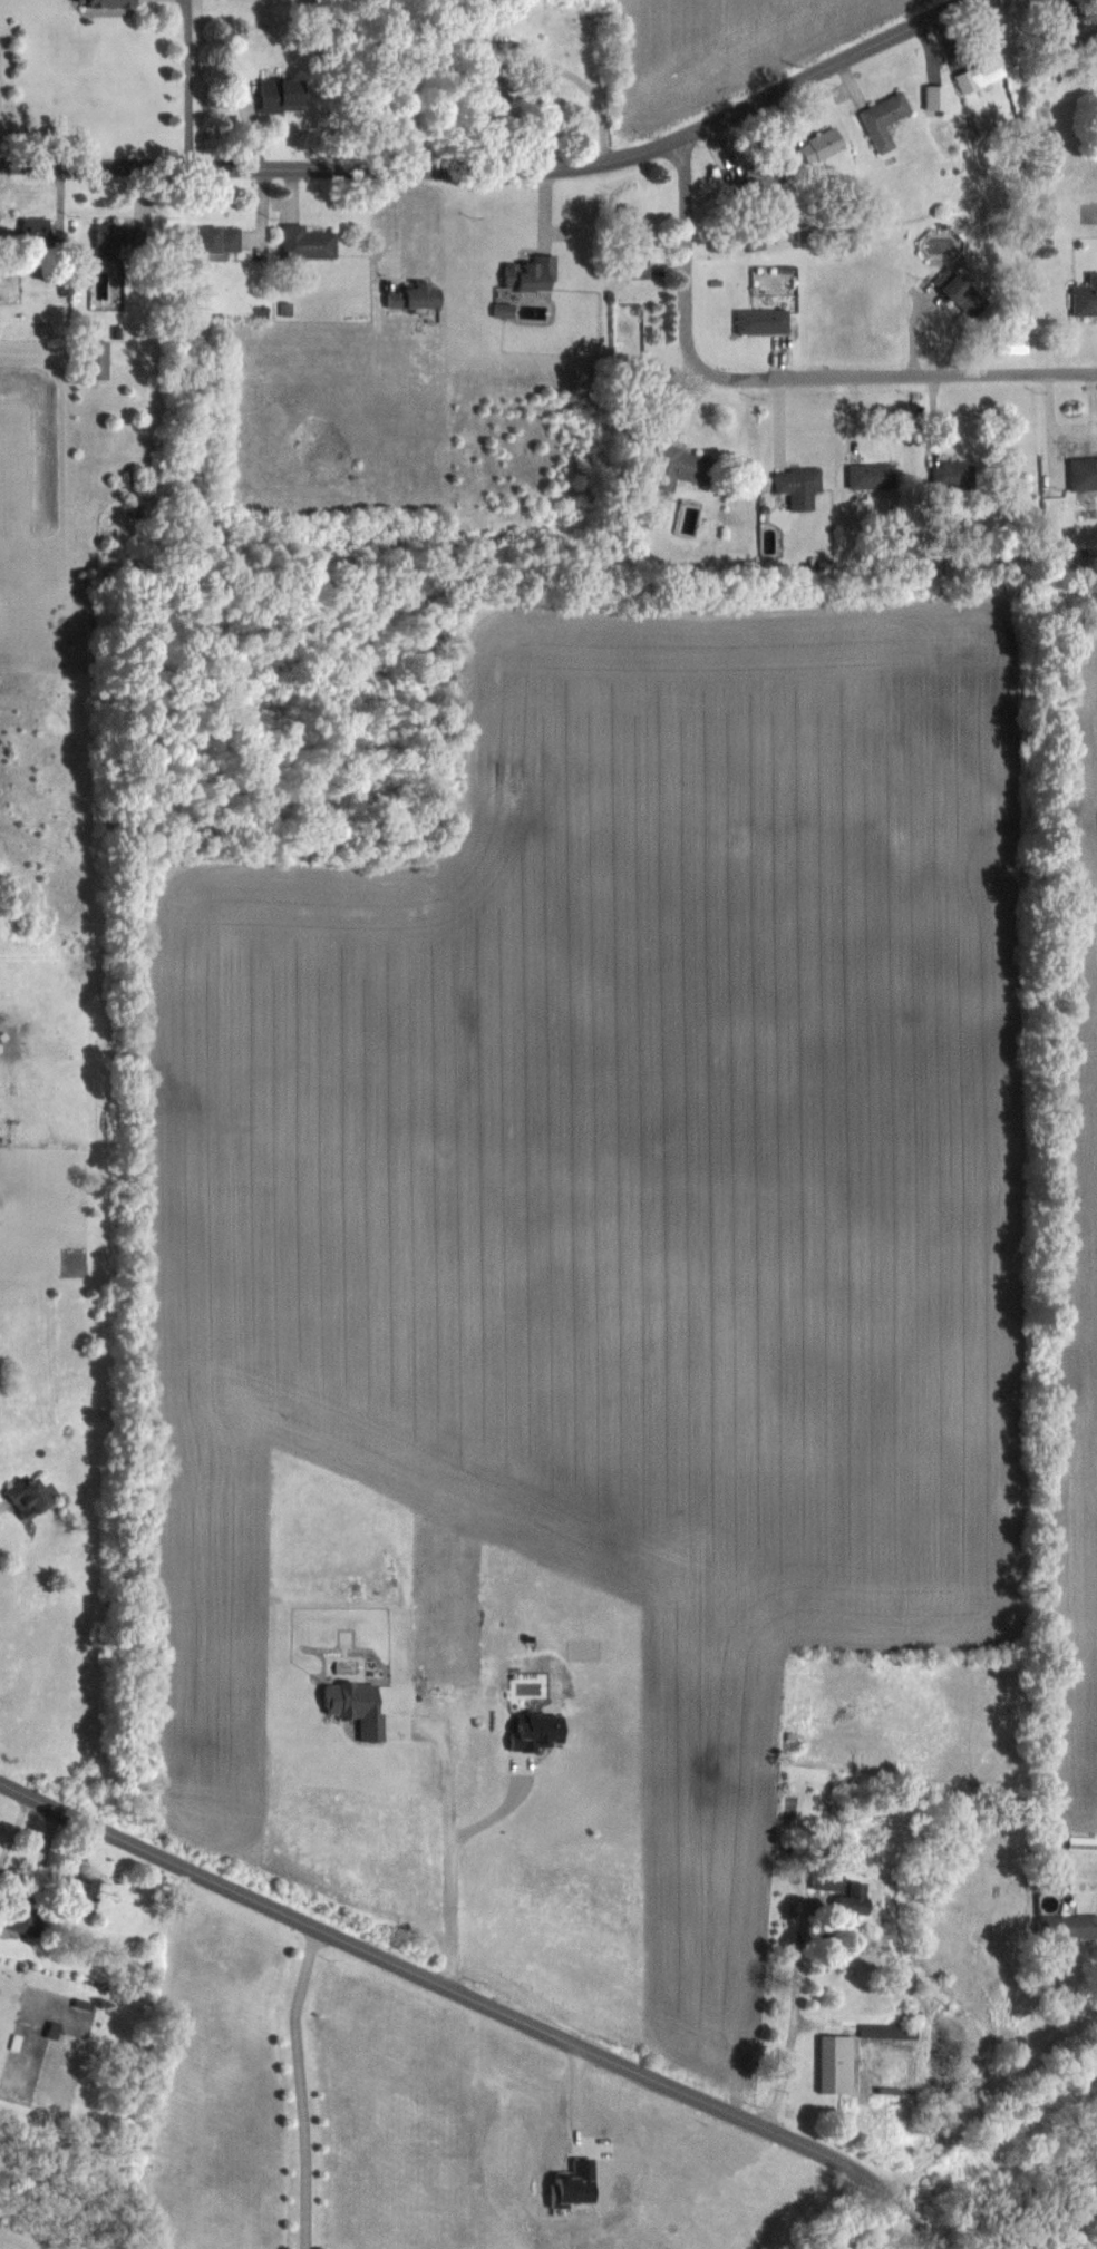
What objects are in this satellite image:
building: (104, 3)
building: (1079, 29)
crop: (715, 50)
road: (548, 65)
building: (983, 69)
road: (188, 82)
road: (329, 84)
road: (410, 85)
building: (488, 87)
building: (279, 95)
building: (883, 119)
building: (823, 144)
road: (501, 169)
building: (756, 179)
building: (38, 232)
building: (210, 241)
building: (119, 242)
building: (305, 242)
road: (688, 242)
building: (633, 249)
building: (530, 274)
building: (957, 289)
building: (9, 294)
building: (1085, 294)
building: (414, 296)
building: (761, 320)
building: (95, 359)
road: (886, 373)
building: (680, 467)
building: (1083, 473)
building: (952, 474)
building: (870, 475)
building: (797, 487)
building: (929, 562)
crop: (1084, 1334)
building: (27, 1496)
road: (0, 1497)
building: (535, 1730)
road: (501, 1813)
road: (450, 1858)
building: (75, 1886)
building: (839, 1888)
building: (1067, 1927)
road: (476, 1998)
road: (794, 2027)
building: (887, 2029)
building: (834, 2063)
road: (1009, 2083)
road: (300, 2086)

